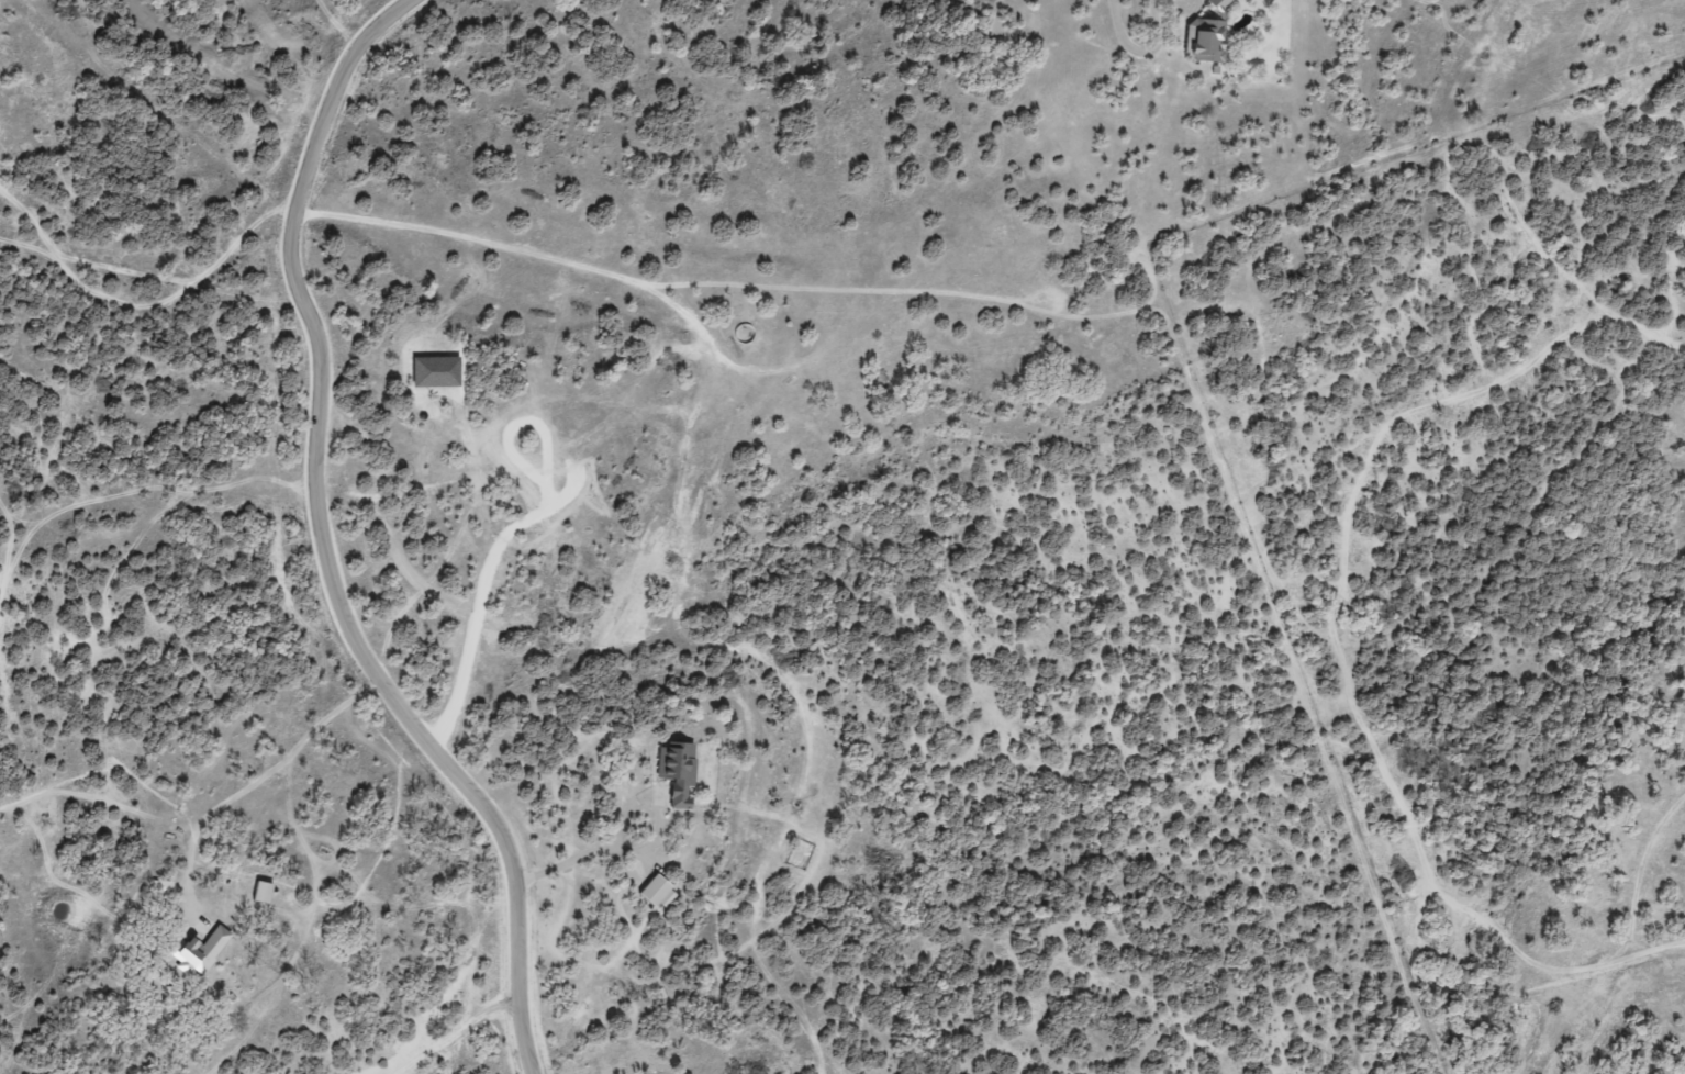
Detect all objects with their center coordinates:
building: (1220, 3)
road: (1109, 33)
building: (1206, 40)
road: (324, 545)
road: (254, 779)
road: (444, 984)
road: (456, 1033)

